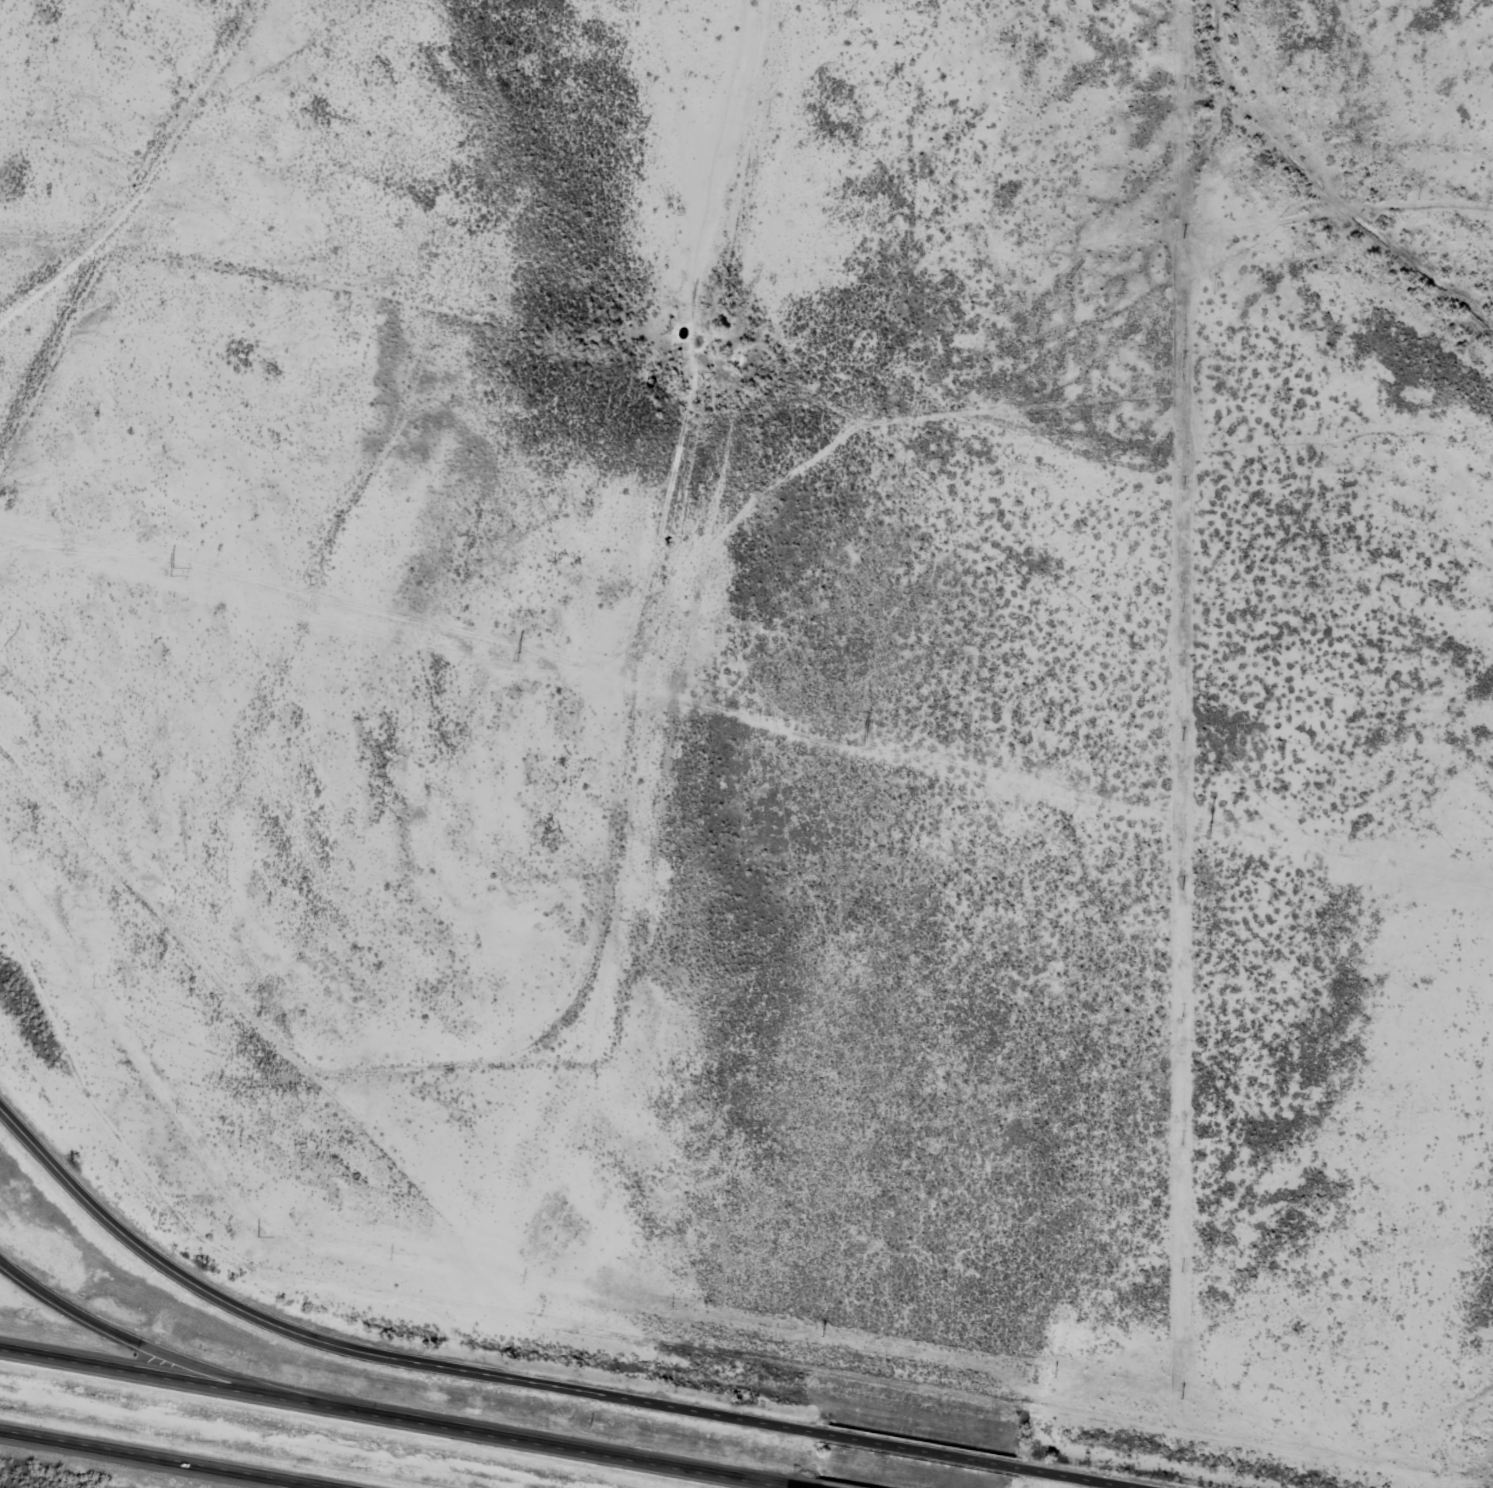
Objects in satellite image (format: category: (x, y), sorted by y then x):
road: (199, 164)
road: (302, 317)
power tower: (172, 570)
power tower: (518, 656)
power tower: (864, 741)
power tower: (1210, 825)
road: (137, 1341)
road: (372, 1350)
road: (391, 1419)
road: (919, 1451)
road: (143, 1464)
road: (1071, 1478)

